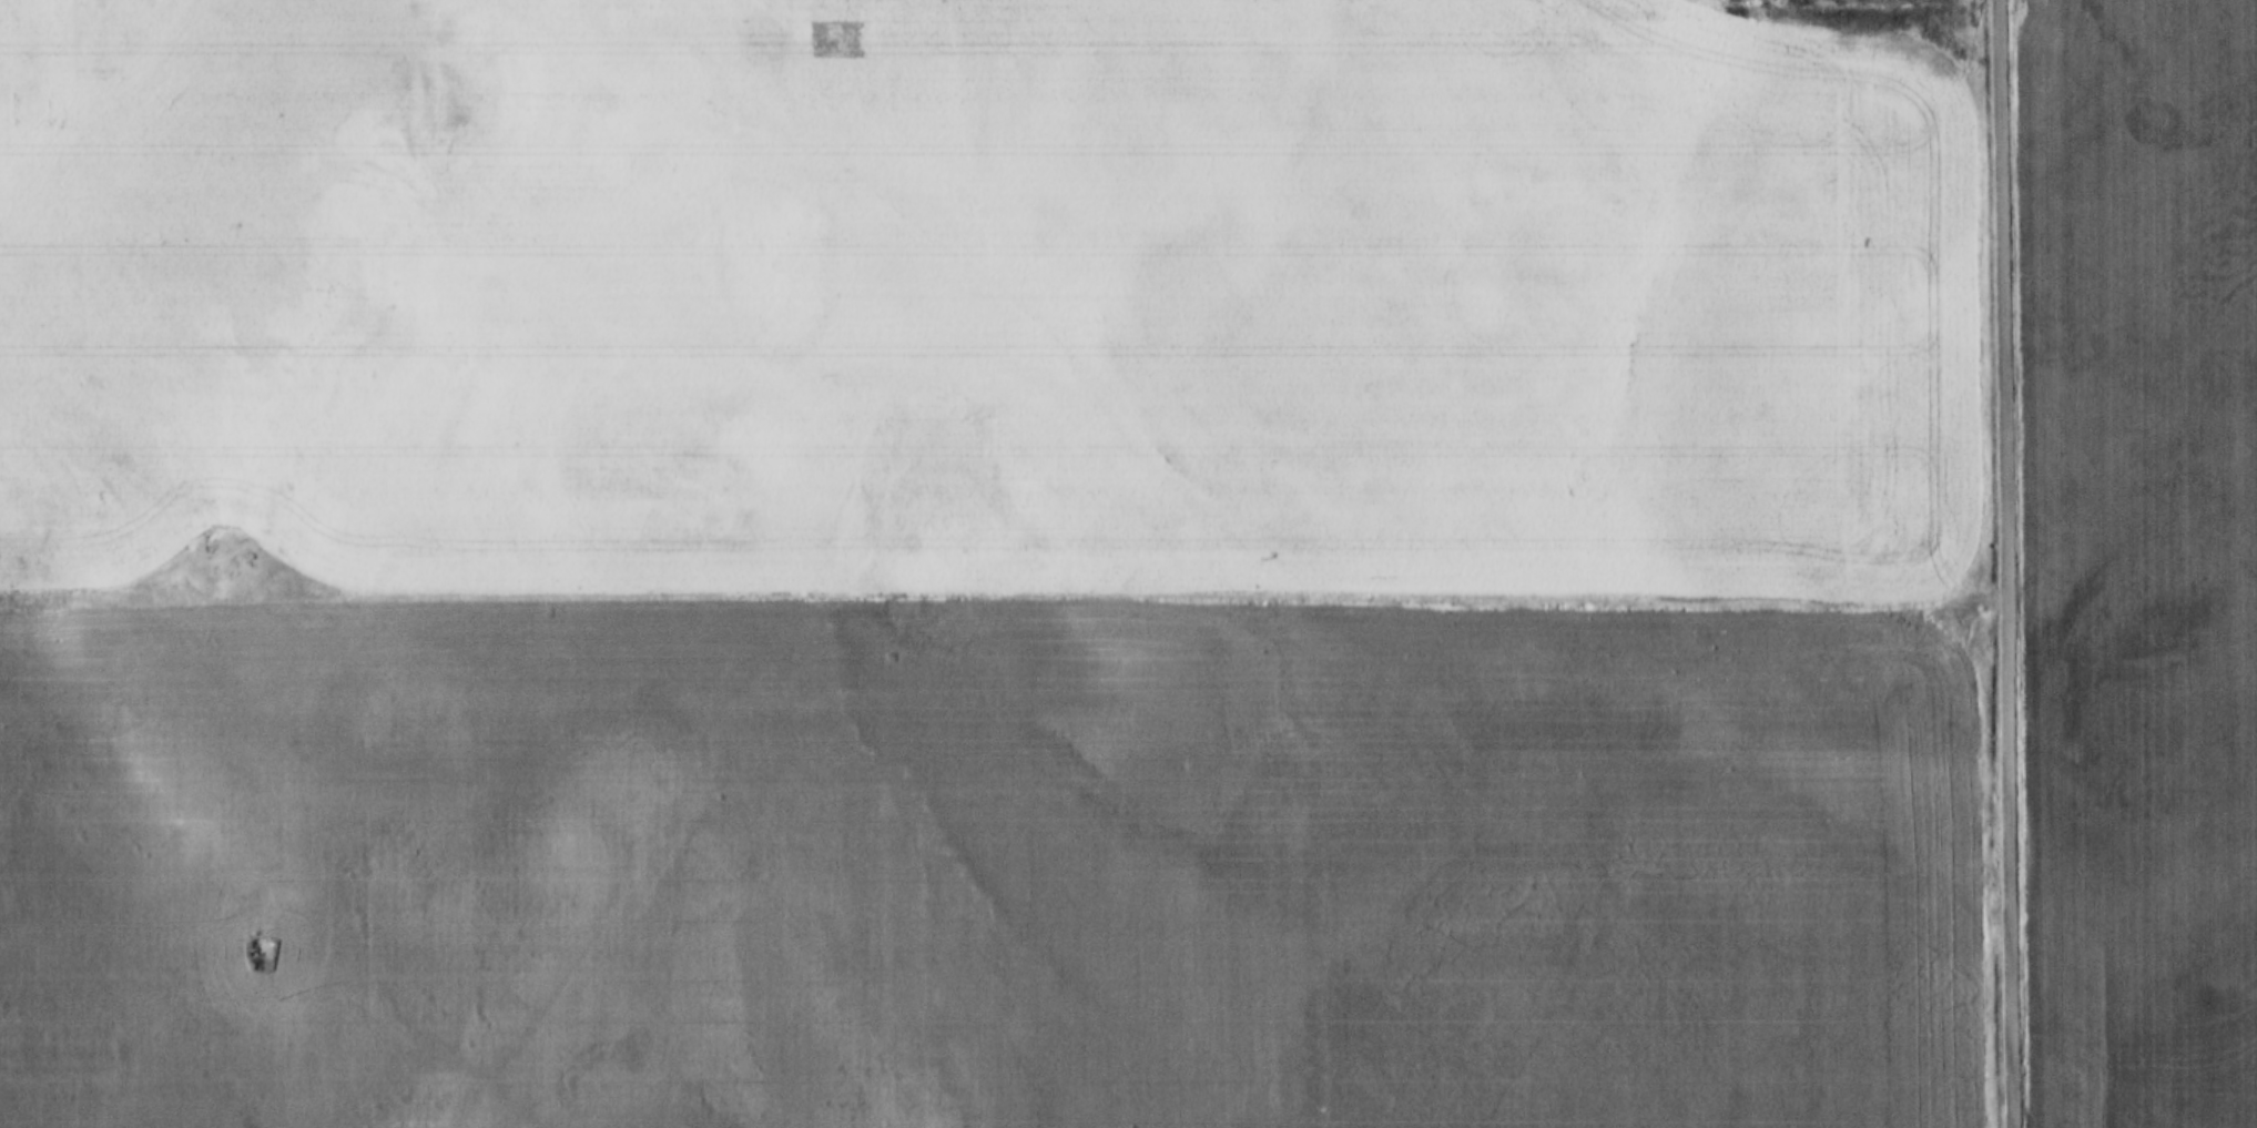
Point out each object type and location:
road: (2004, 563)
road: (1003, 596)

